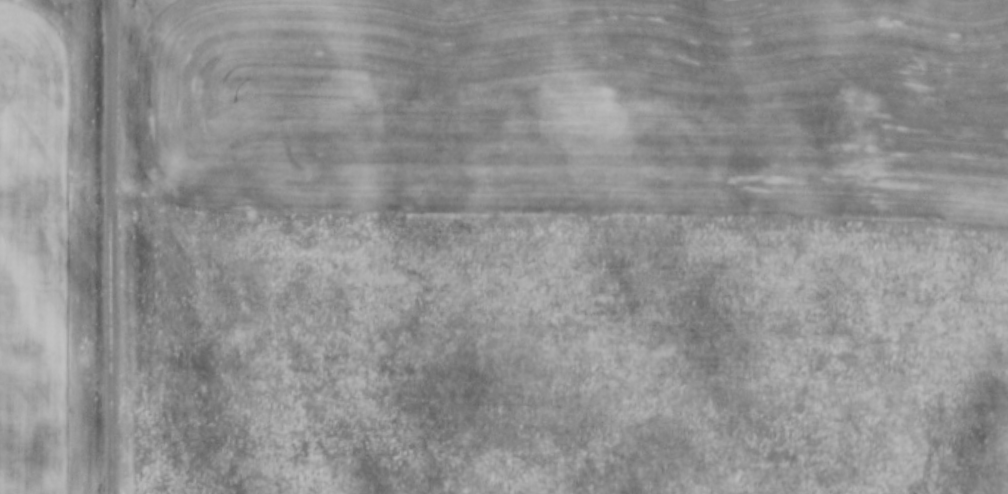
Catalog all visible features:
road: (113, 247)

